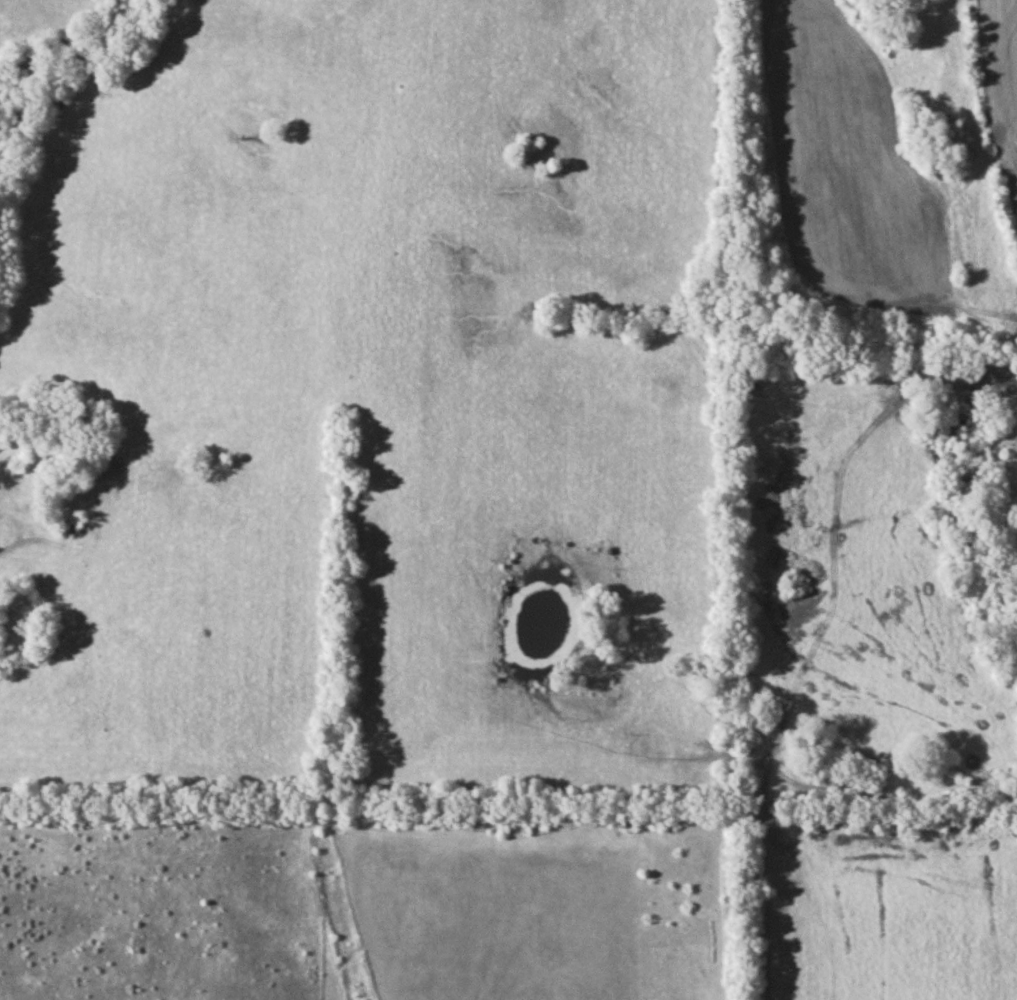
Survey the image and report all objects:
building: (72, 520)
road: (5, 544)

